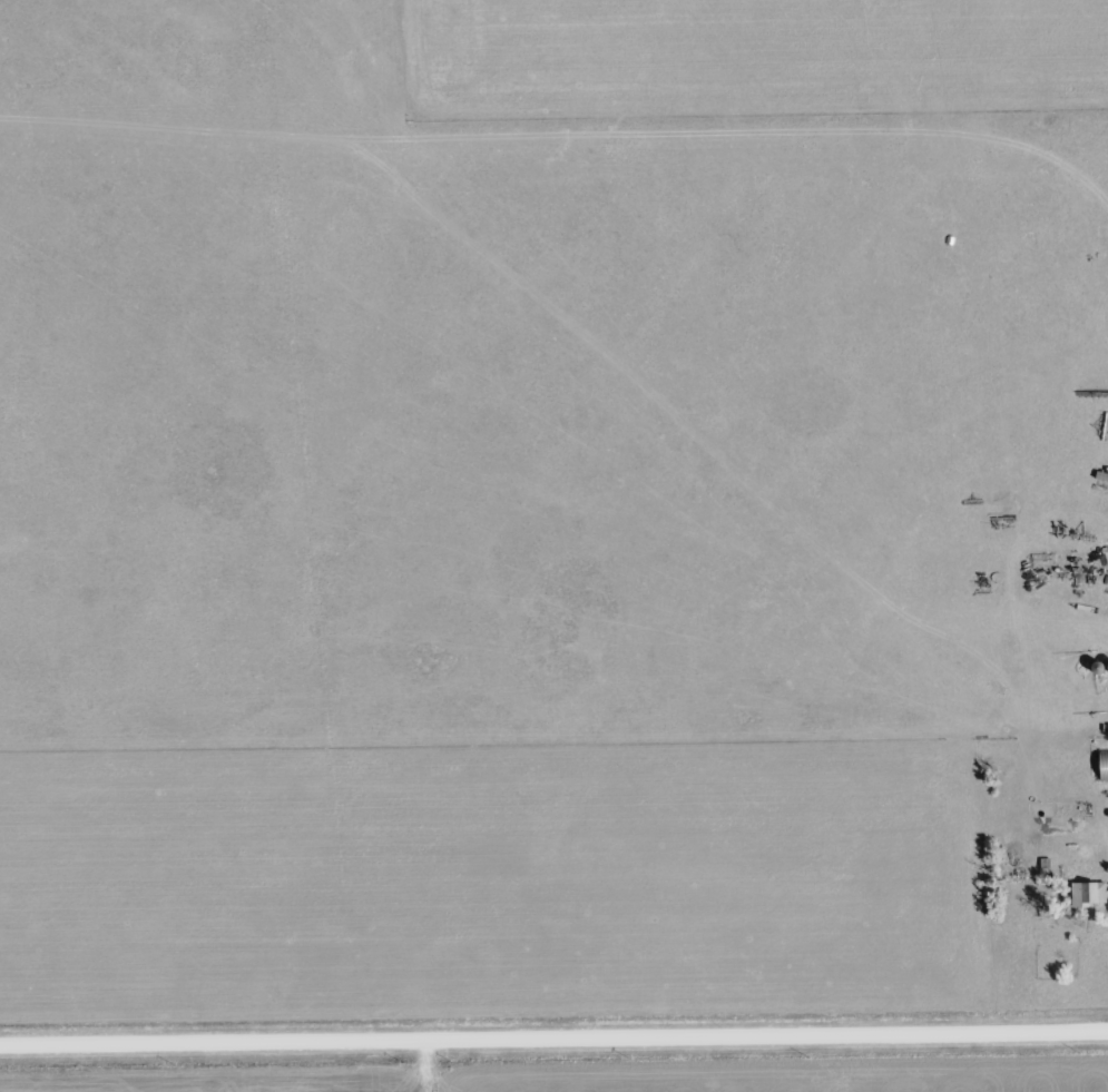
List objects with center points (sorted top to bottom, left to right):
road: (553, 1032)

